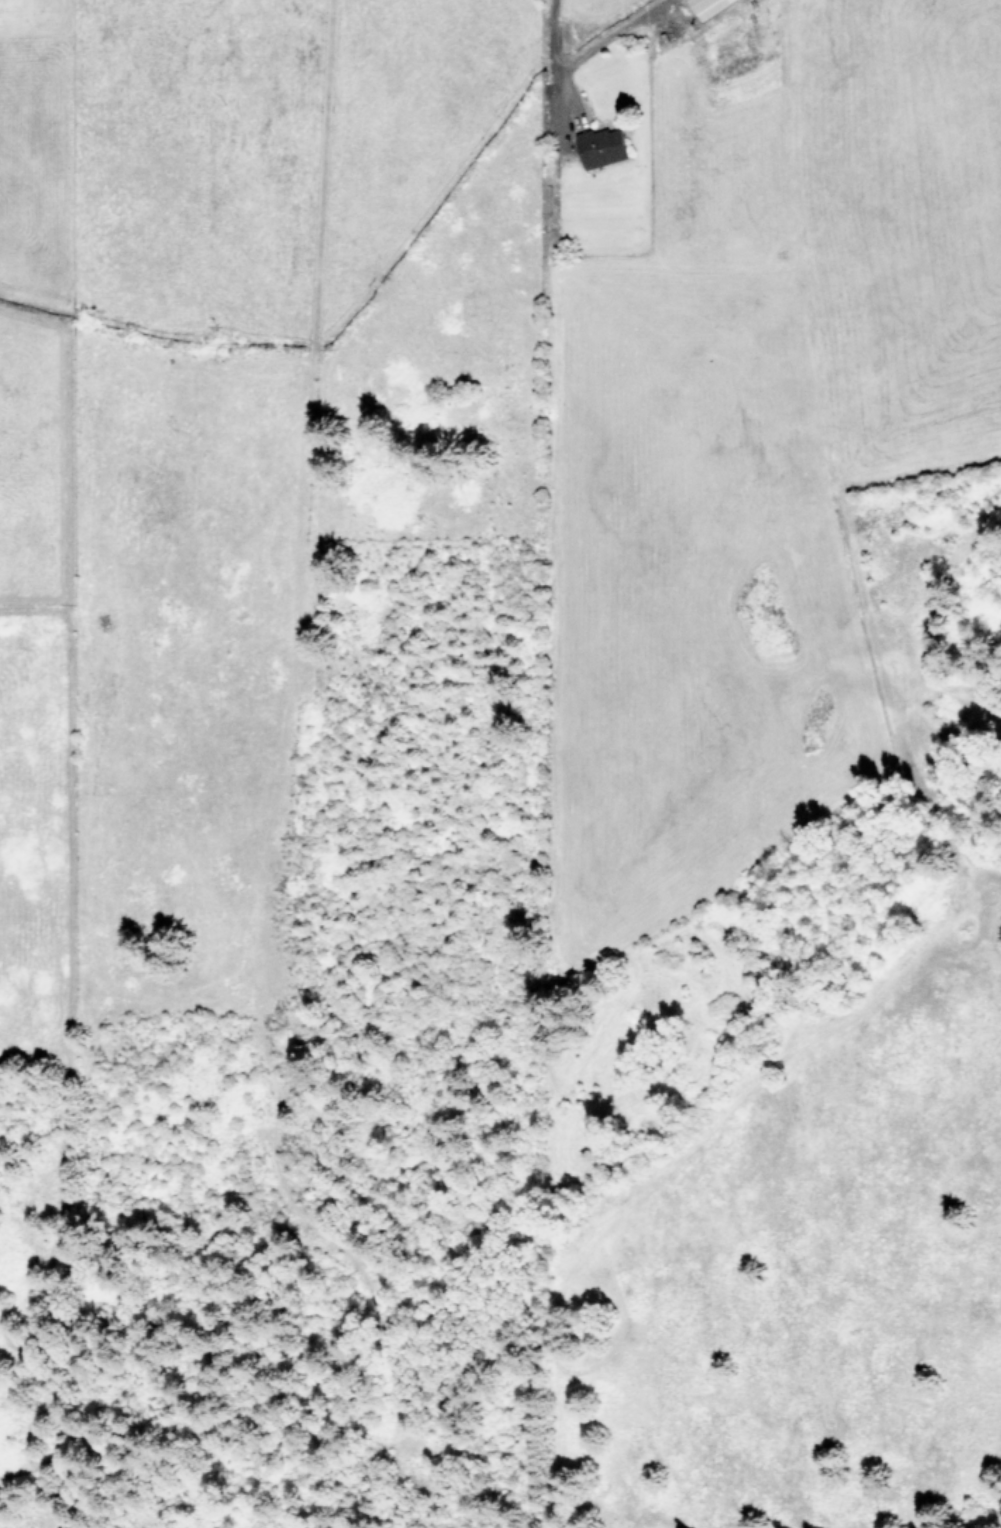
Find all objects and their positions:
road: (549, 63)
building: (600, 146)

